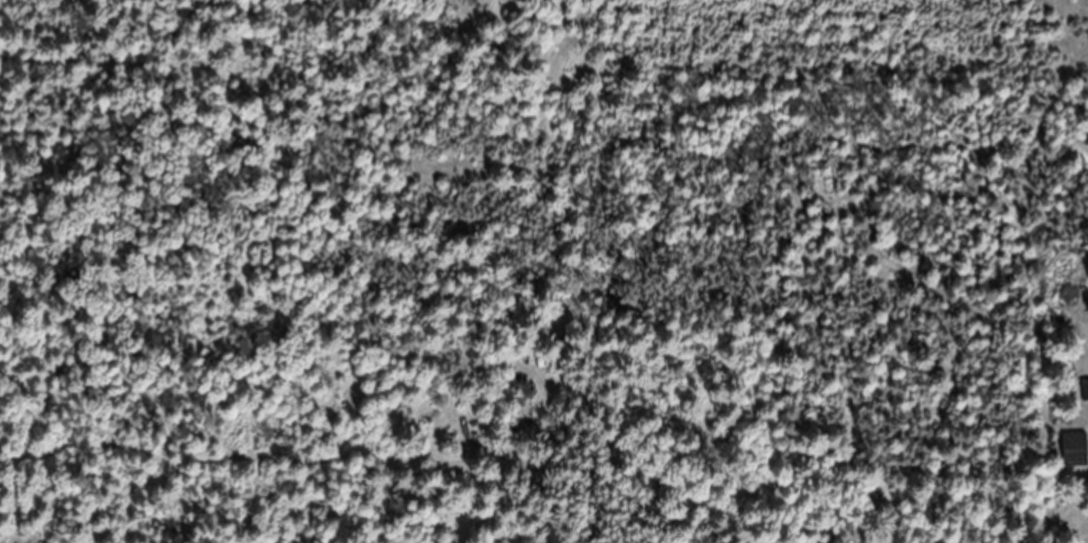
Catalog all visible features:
building: (1073, 450)

